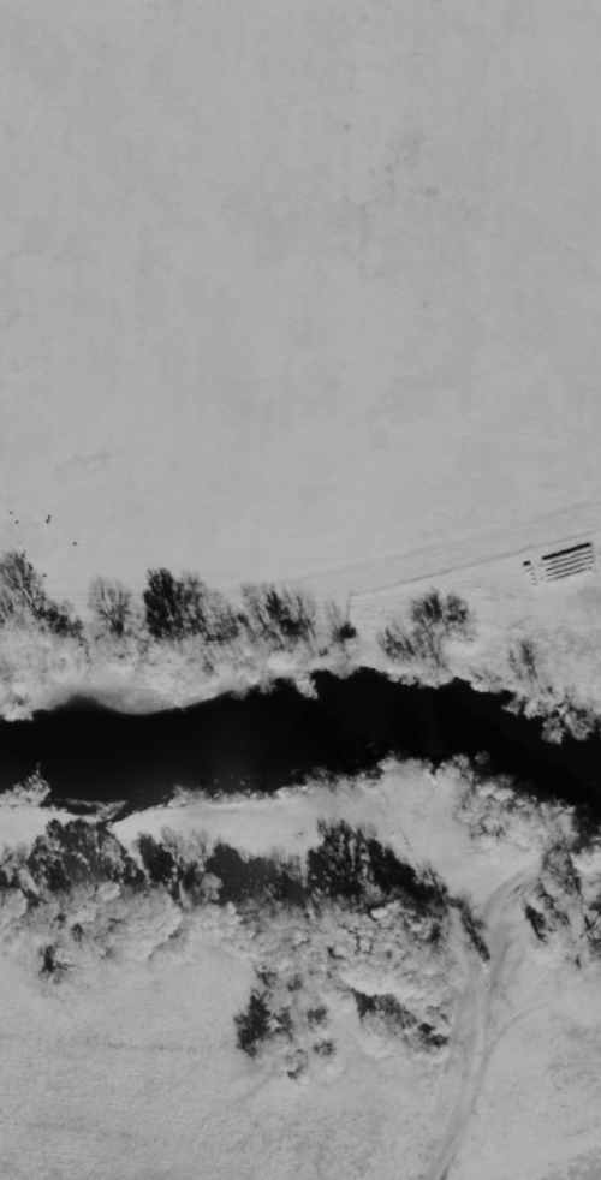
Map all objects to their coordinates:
river: (304, 701)

